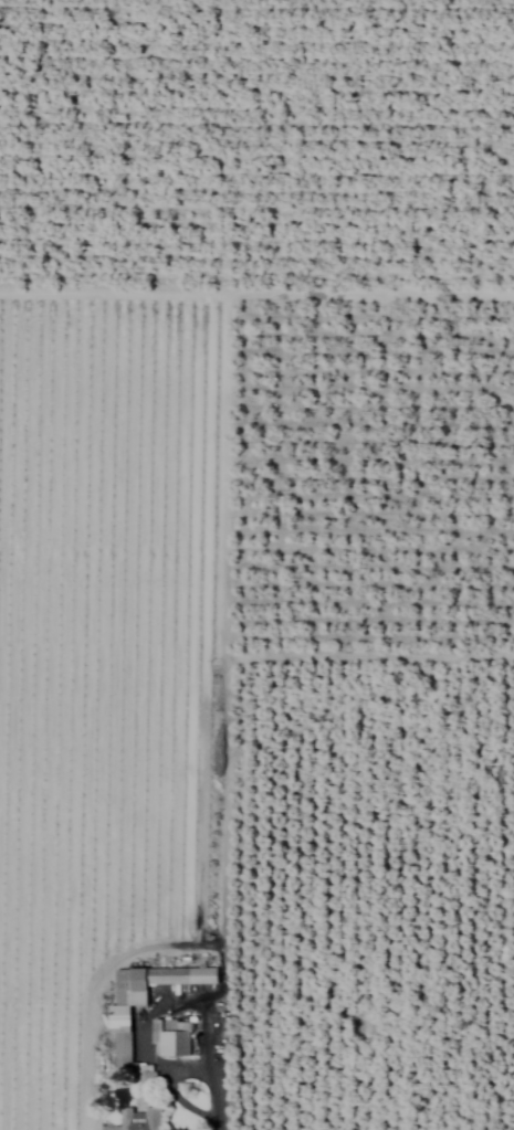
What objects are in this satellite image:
crop: (256, 564)
building: (143, 1002)
building: (169, 1038)
road: (175, 1069)
building: (137, 1120)
road: (217, 1129)

